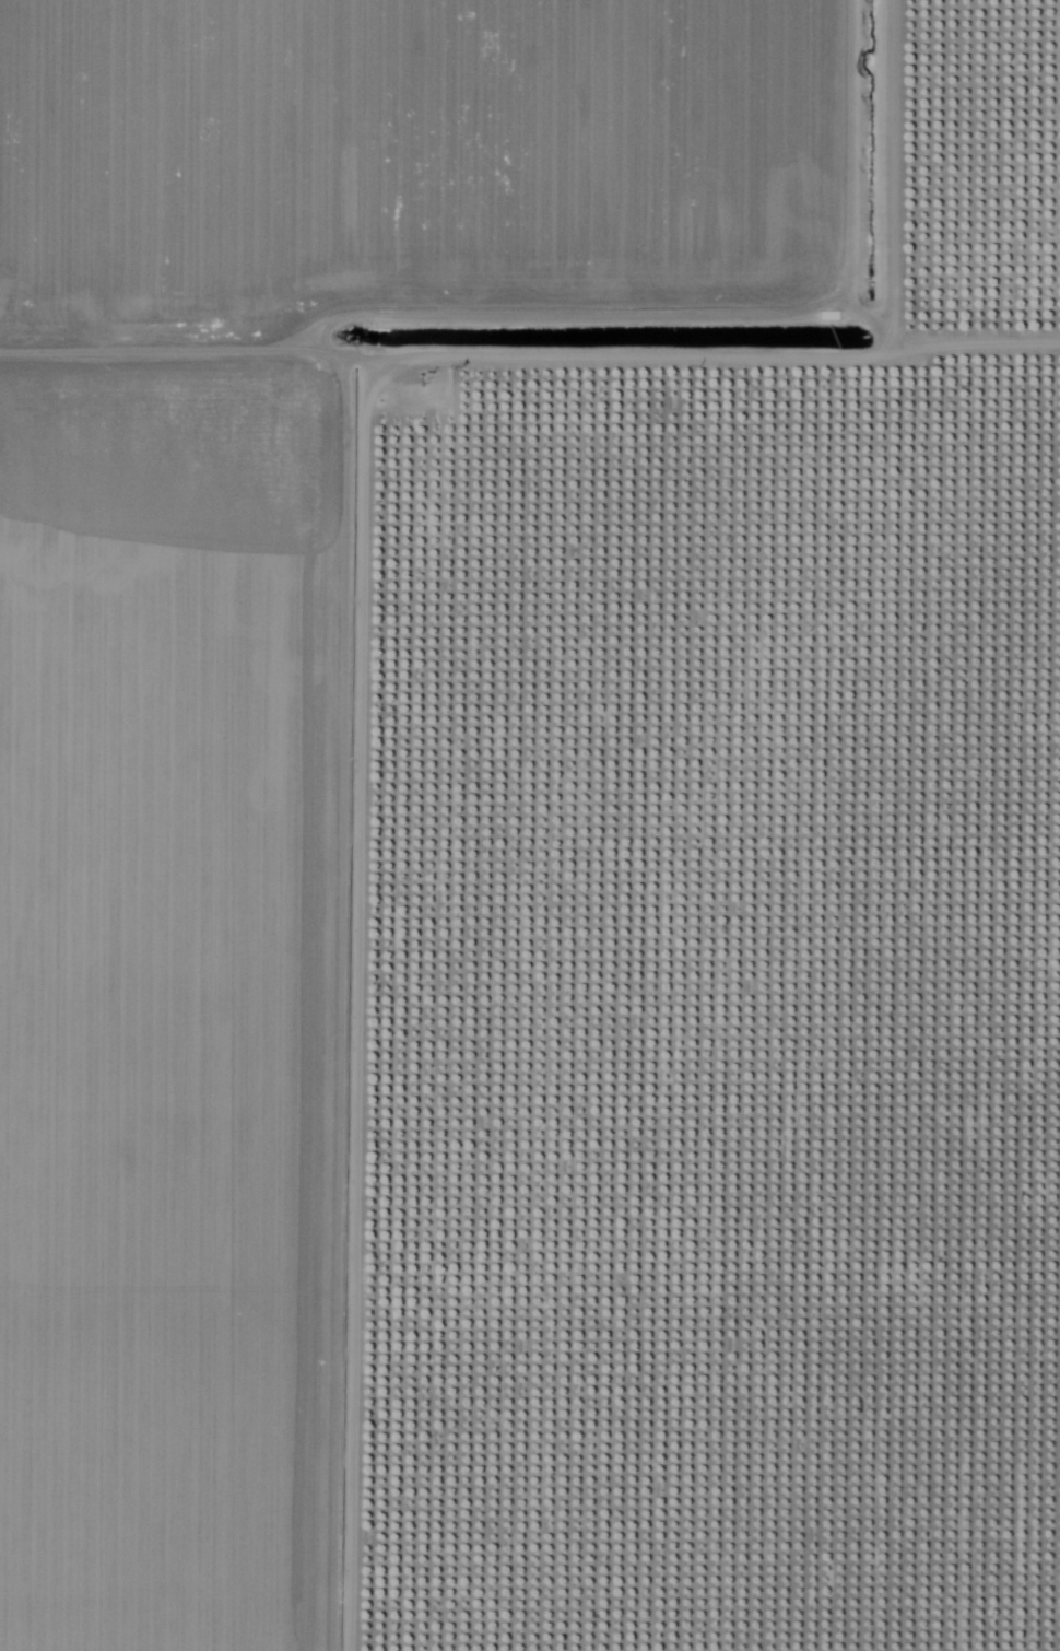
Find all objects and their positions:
crop: (457, 187)
crop: (982, 189)
road: (402, 573)
crop: (189, 1005)
crop: (719, 1017)

